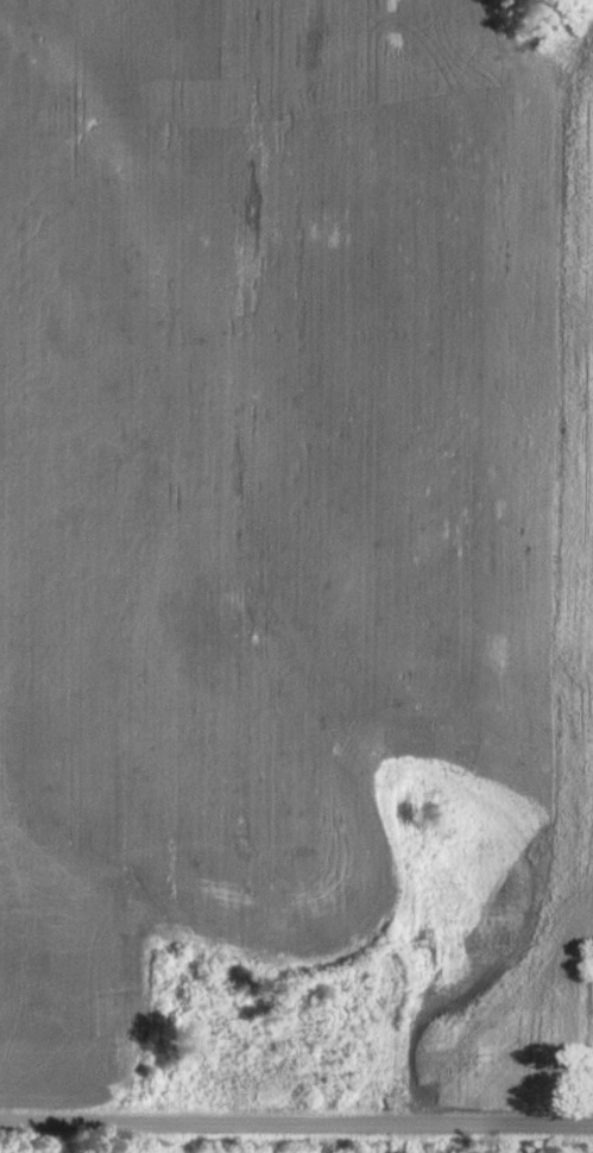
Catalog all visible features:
road: (296, 1123)

